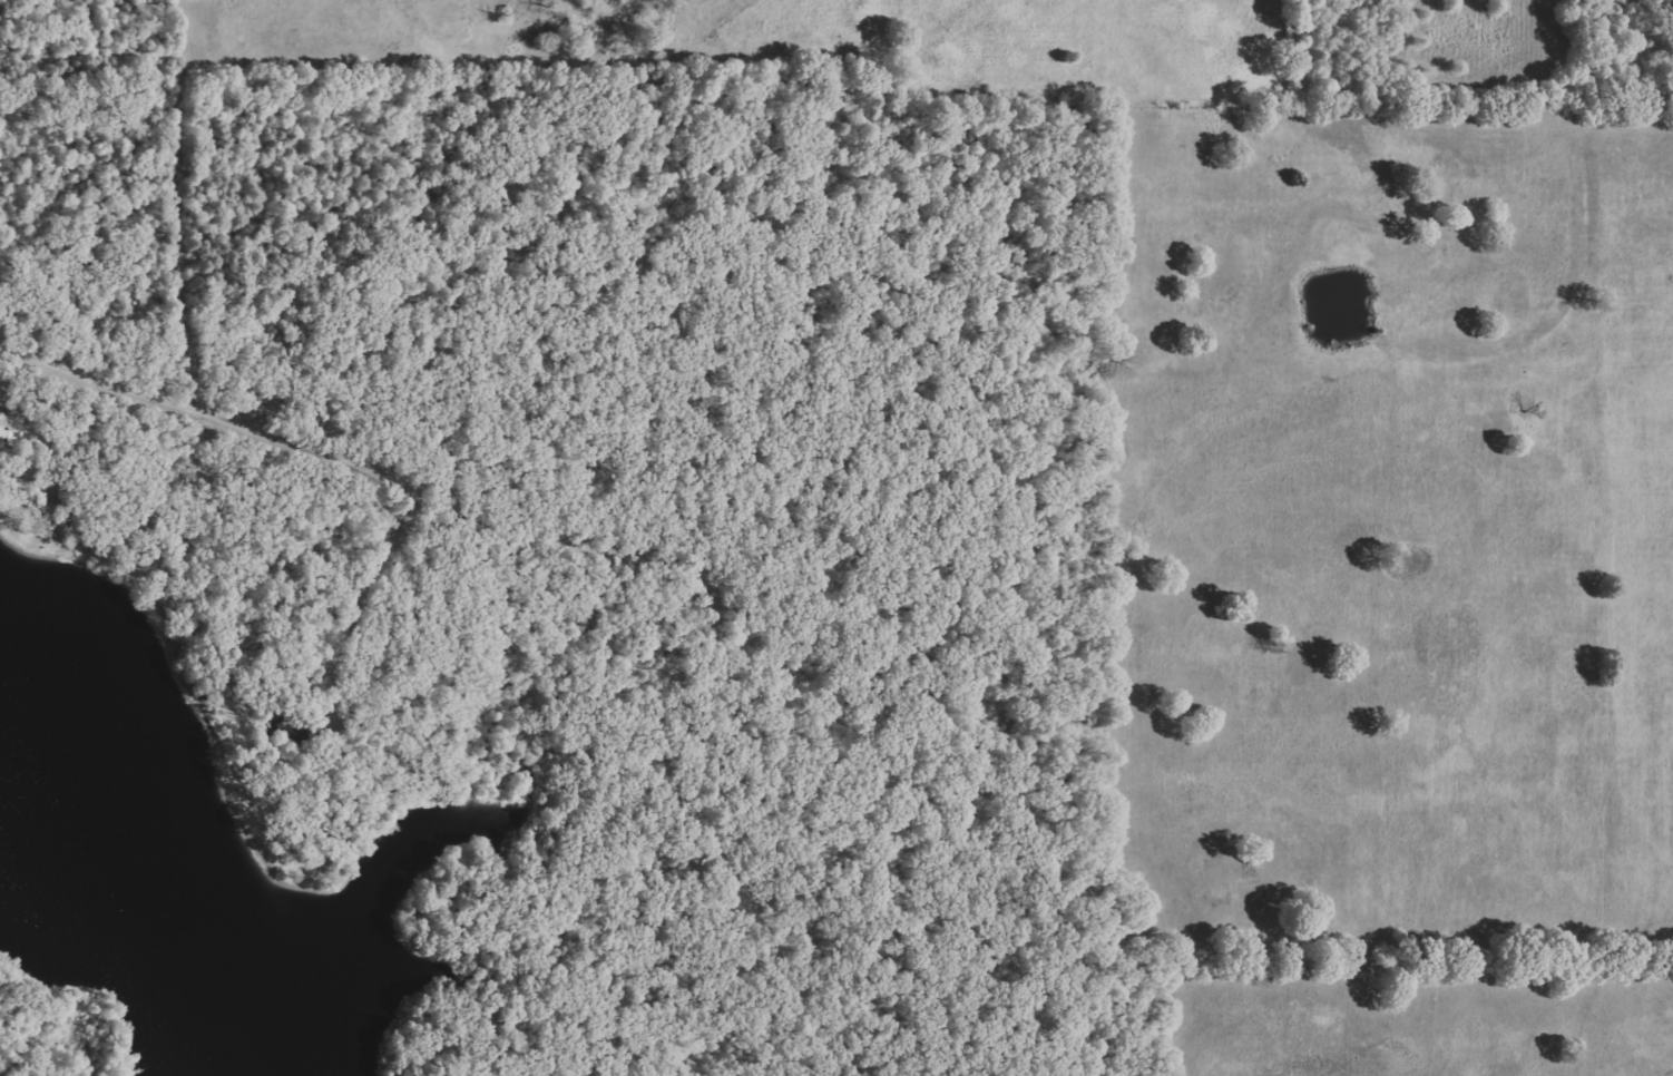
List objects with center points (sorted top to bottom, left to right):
road: (1568, 244)
building: (12, 429)
road: (612, 542)

